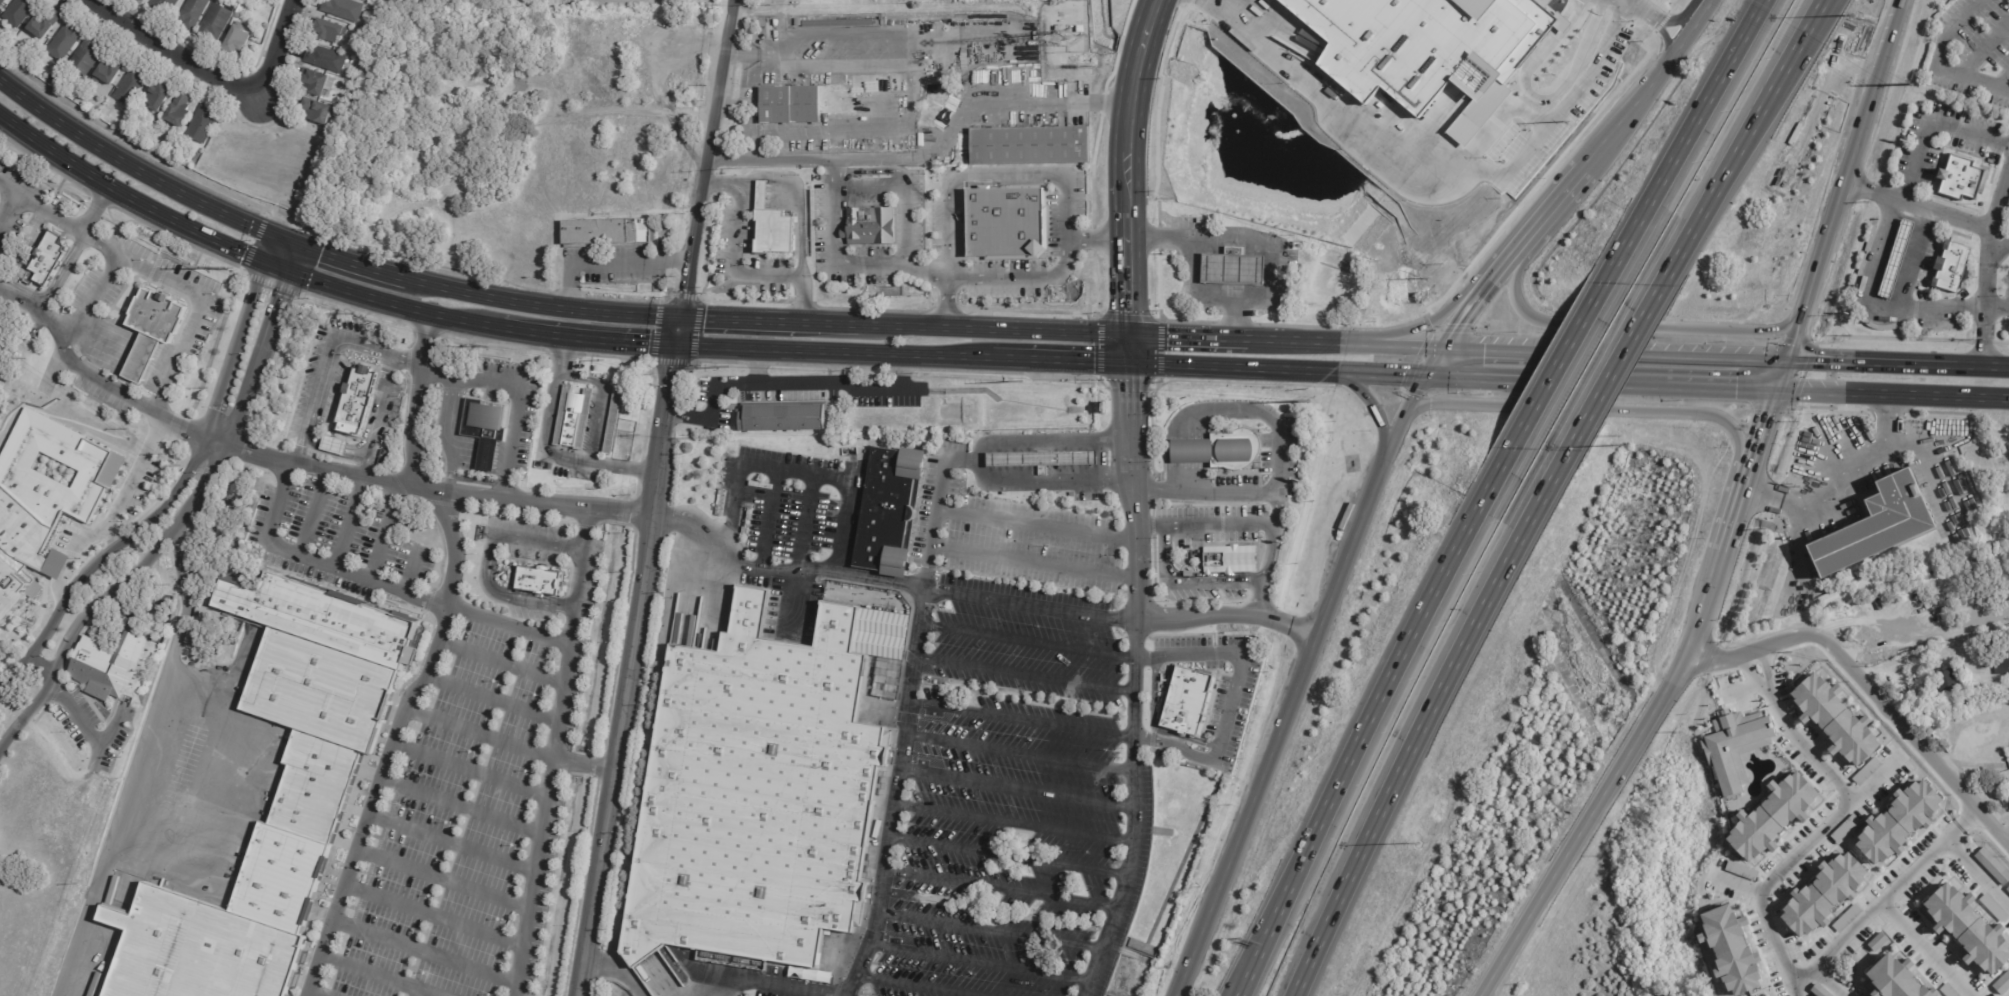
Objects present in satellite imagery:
parking lot: (774, 0)
building: (146, 1)
building: (3, 3)
road: (1641, 4)
building: (167, 6)
building: (346, 10)
road: (753, 10)
building: (21, 12)
road: (1680, 13)
building: (196, 14)
building: (240, 16)
building: (796, 22)
building: (836, 23)
building: (46, 24)
building: (218, 24)
road: (1664, 27)
building: (331, 32)
building: (372, 35)
building: (239, 41)
building: (67, 43)
building: (1423, 47)
road: (1983, 47)
parking lot: (1972, 51)
building: (89, 57)
building: (328, 60)
road: (1939, 62)
road: (1140, 67)
building: (112, 73)
road: (217, 76)
road: (1776, 78)
road: (1785, 78)
road: (2003, 81)
road: (1644, 83)
power tower: (1912, 83)
building: (321, 85)
road: (1546, 87)
building: (132, 88)
building: (72, 94)
building: (162, 98)
building: (873, 98)
building: (347, 103)
road: (1072, 103)
building: (791, 106)
road: (1510, 110)
building: (182, 112)
building: (321, 113)
building: (874, 113)
power tower: (1569, 121)
road: (1927, 121)
building: (205, 125)
road: (1689, 130)
building: (1029, 146)
road: (1128, 154)
road: (702, 159)
railway: (1135, 159)
road: (871, 162)
road: (131, 165)
road: (964, 177)
road: (1847, 179)
building: (1961, 179)
road: (1446, 183)
road: (2004, 187)
road: (1565, 191)
road: (1998, 195)
road: (796, 199)
road: (9, 205)
road: (41, 207)
road: (1700, 212)
building: (1004, 222)
building: (772, 226)
building: (869, 226)
road: (1984, 226)
building: (602, 232)
road: (285, 240)
road: (1267, 240)
road: (75, 251)
road: (1998, 251)
traffic signals: (242, 252)
traffic signals: (320, 252)
road: (1128, 253)
building: (49, 258)
parking lot: (2003, 258)
road: (1913, 259)
building: (1896, 260)
road: (261, 261)
road: (734, 261)
road: (352, 262)
road: (661, 262)
road: (605, 263)
road: (891, 264)
building: (1951, 267)
power tower: (226, 269)
building: (1232, 269)
gas station: (1232, 269)
road: (1032, 276)
power tower: (1430, 280)
road: (566, 283)
road: (1196, 287)
road: (1471, 289)
traffic signals: (683, 290)
road: (1483, 292)
road: (197, 296)
traffic signals: (280, 297)
road: (91, 300)
road: (541, 303)
road: (1872, 305)
road: (1996, 306)
traffic signals: (1128, 311)
traffic signals: (703, 319)
road: (736, 320)
traffic signals: (1459, 323)
road: (1613, 326)
road: (960, 328)
building: (153, 330)
road: (677, 331)
traffic signals: (1170, 336)
road: (1194, 337)
road: (612, 340)
traffic signals: (646, 342)
road: (1321, 344)
power tower: (488, 347)
road: (1127, 348)
road: (1409, 348)
road: (834, 350)
traffic signals: (1484, 351)
road: (1489, 351)
road: (567, 354)
road: (1664, 355)
road: (1560, 358)
road: (1060, 359)
traffic signals: (1816, 360)
road: (408, 361)
traffic signals: (1093, 361)
road: (1870, 361)
road: (325, 362)
road: (1615, 363)
power tower: (728, 365)
road: (1223, 366)
traffic signals: (674, 367)
road: (1980, 367)
road: (759, 369)
road: (1371, 371)
traffic signals: (1404, 373)
road: (1783, 374)
road: (1465, 376)
power tower: (1022, 380)
road: (1587, 381)
road: (1723, 387)
traffic signals: (1737, 388)
road: (796, 389)
road: (1817, 391)
traffic signals: (1129, 392)
road: (1932, 395)
building: (359, 398)
road: (517, 398)
power tower: (1308, 401)
road: (599, 404)
road: (383, 409)
traffic signals: (1770, 410)
road: (1622, 411)
road: (1222, 413)
road: (1373, 413)
road: (448, 416)
building: (570, 419)
building: (786, 419)
building: (610, 424)
road: (1398, 428)
building: (482, 429)
road: (544, 435)
road: (1189, 451)
building: (1236, 451)
road: (339, 452)
road: (482, 452)
road: (305, 454)
building: (783, 458)
building: (1039, 460)
gas station: (1039, 460)
road: (1102, 460)
road: (1750, 463)
road: (301, 464)
road: (627, 466)
road: (366, 470)
road: (1832, 470)
road: (449, 473)
road: (800, 474)
road: (1049, 479)
road: (157, 482)
road: (177, 490)
road: (1160, 492)
road: (1255, 492)
building: (1071, 495)
building: (44, 499)
building: (721, 504)
building: (891, 512)
road: (313, 513)
road: (183, 519)
road: (770, 519)
road: (349, 523)
road: (1202, 523)
road: (805, 524)
road: (1035, 525)
building: (1877, 527)
parking lot: (343, 528)
parking lot: (1038, 532)
road: (382, 533)
road: (551, 544)
road: (1265, 556)
road: (320, 561)
building: (1229, 561)
road: (1032, 562)
building: (2001, 569)
road: (411, 571)
road: (1715, 571)
building: (542, 581)
road: (886, 585)
road: (1180, 586)
road: (532, 602)
road: (1228, 620)
road: (1135, 622)
road: (918, 636)
road: (1028, 639)
parking lot: (1030, 643)
road: (1933, 649)
road: (1401, 651)
road: (432, 660)
building: (1996, 660)
road: (500, 662)
road: (43, 663)
building: (107, 666)
road: (632, 670)
road: (1768, 673)
building: (1957, 673)
road: (1026, 675)
road: (1754, 677)
building: (1946, 681)
road: (1739, 687)
road: (1872, 690)
road: (1233, 694)
road: (493, 699)
building: (1188, 701)
building: (1923, 711)
building: (1835, 719)
road: (1024, 720)
road: (1421, 724)
road: (89, 730)
road: (1279, 741)
road: (509, 747)
building: (1734, 747)
road: (1809, 750)
building: (2008, 750)
road: (1022, 753)
road: (553, 756)
road: (135, 764)
road: (470, 770)
road: (1019, 788)
building: (766, 789)
building: (314, 790)
road: (1602, 803)
road: (461, 808)
building: (1773, 816)
parking lot: (462, 820)
road: (1015, 822)
building: (1899, 822)
road: (452, 843)
road: (2006, 844)
parking lot: (1009, 851)
road: (1009, 864)
road: (1786, 864)
building: (1992, 866)
building: (1741, 871)
road: (1975, 876)
road: (442, 880)
road: (1743, 884)
road: (1004, 888)
building: (2007, 889)
building: (1823, 894)
road: (1882, 895)
road: (433, 916)
building: (1846, 918)
road: (1262, 922)
road: (1270, 923)
building: (1968, 928)
road: (994, 930)
road: (1114, 939)
road: (1924, 948)
building: (1731, 950)
road: (425, 952)
road: (984, 961)
road: (618, 970)
road: (376, 976)
road: (1827, 979)
road: (771, 982)
building: (2002, 984)
road: (916, 985)
road: (311, 994)

